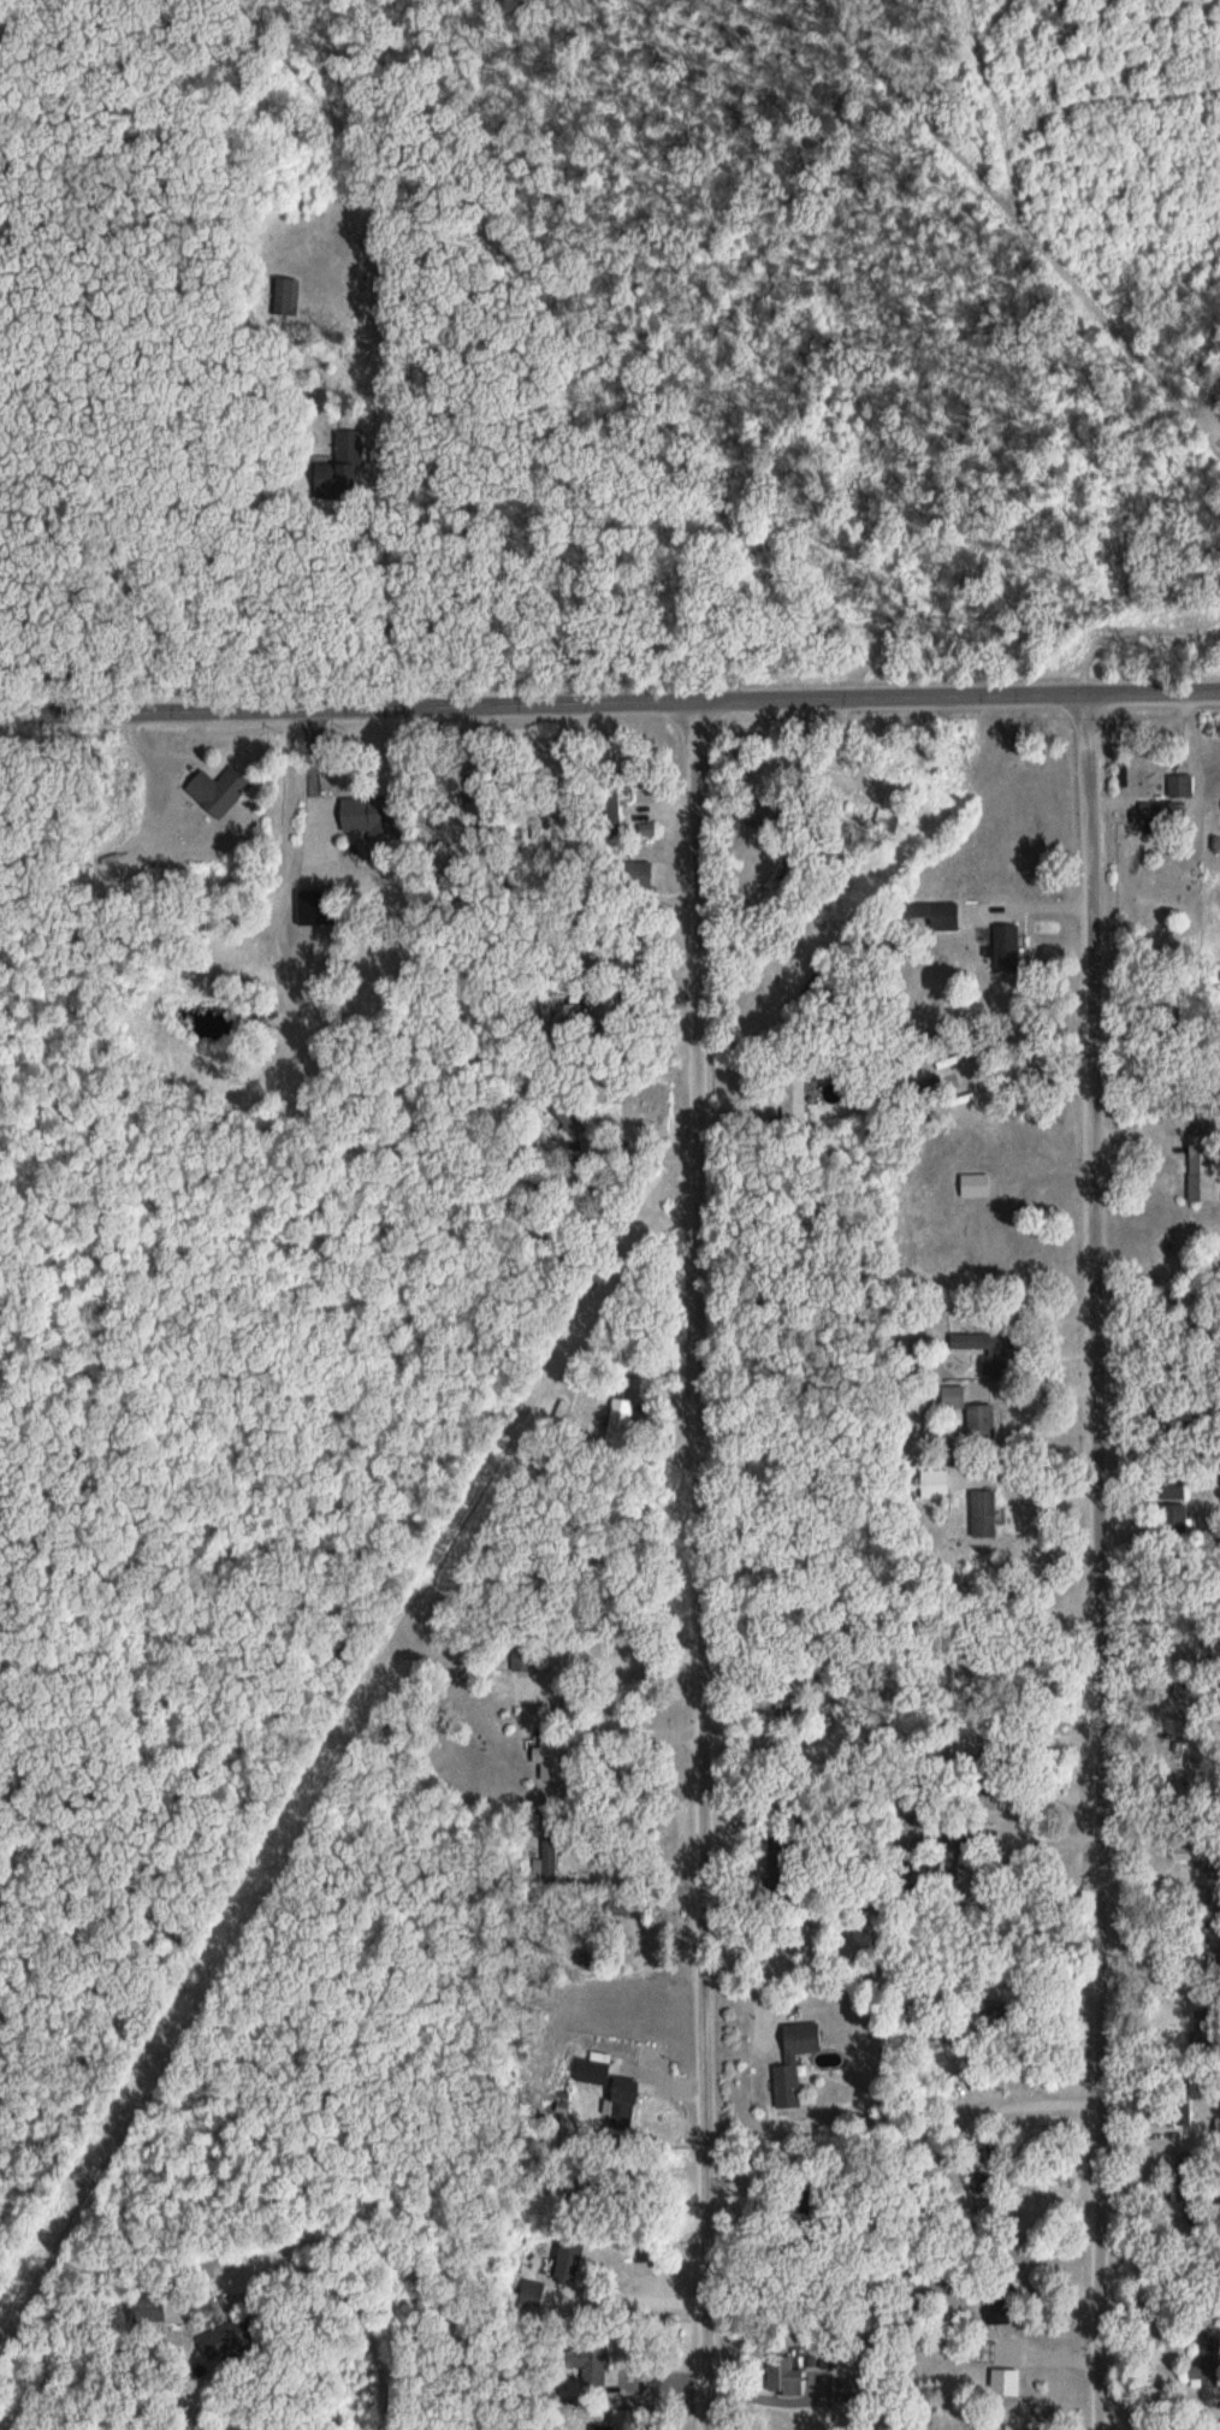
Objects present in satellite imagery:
road: (1015, 217)
building: (290, 296)
building: (337, 475)
road: (610, 704)
building: (1184, 785)
building: (223, 791)
building: (1165, 814)
building: (1009, 947)
building: (979, 1186)
building: (984, 1238)
building: (981, 1388)
building: (975, 1411)
building: (988, 1513)
road: (1098, 1561)
road: (707, 1566)
building: (621, 1909)
building: (661, 2028)
building: (798, 2062)
building: (627, 2100)
building: (1219, 2129)
building: (1185, 2158)
building: (535, 2293)
building: (149, 2307)
building: (983, 2349)
building: (784, 2373)

